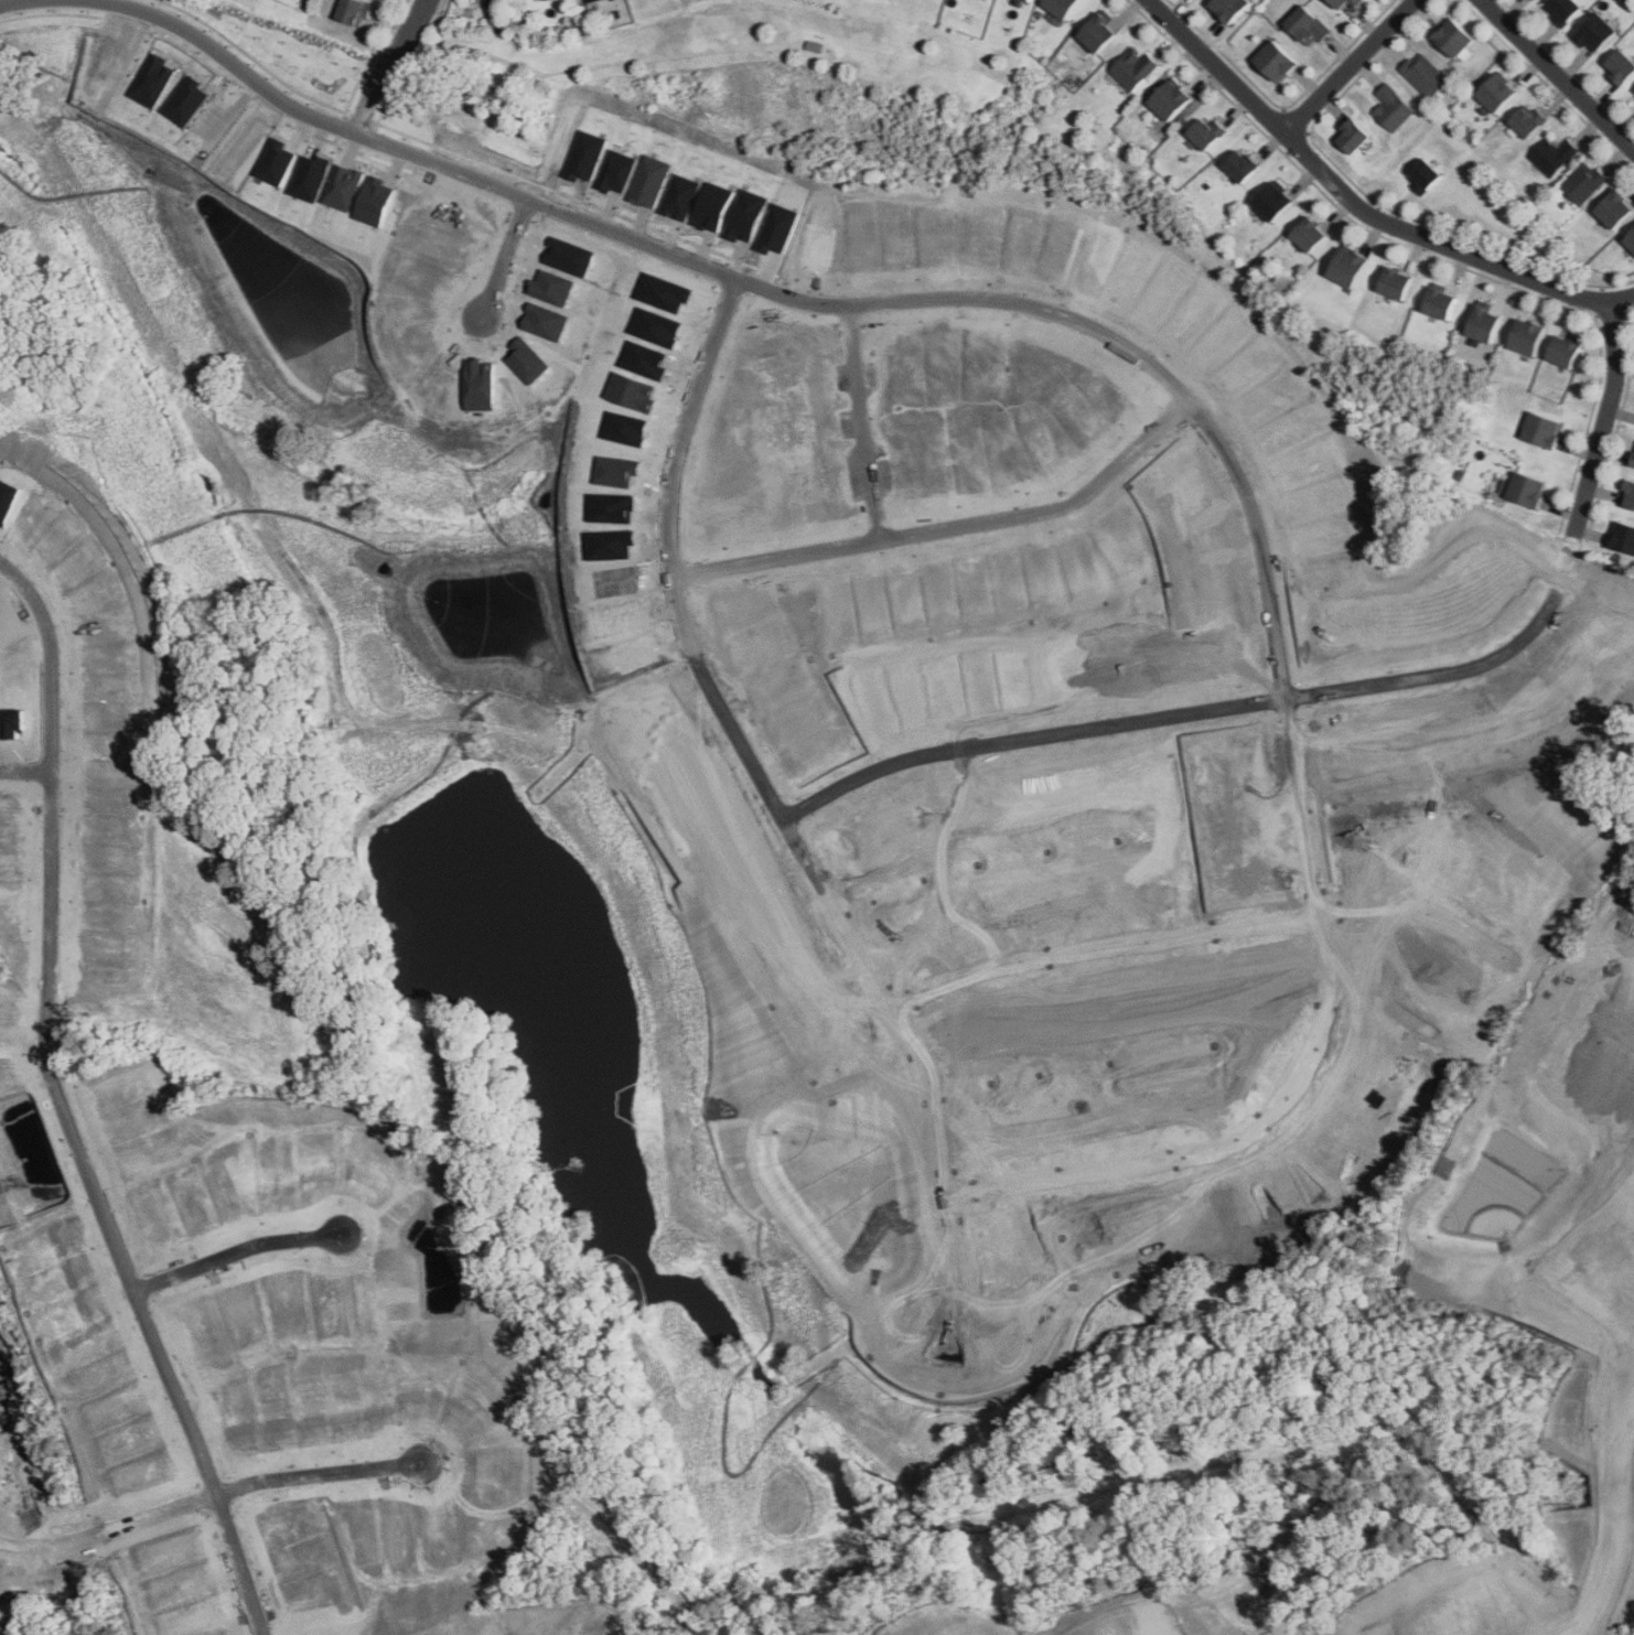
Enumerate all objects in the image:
road: (28, 0)
building: (1028, 0)
building: (590, 1)
building: (1343, 2)
building: (1061, 7)
building: (1229, 9)
building: (1563, 10)
building: (354, 12)
road: (51, 15)
road: (433, 24)
building: (1307, 26)
road: (410, 29)
building: (1595, 33)
building: (1099, 34)
building: (1453, 37)
building: (1277, 63)
road: (1567, 64)
road: (1350, 66)
building: (1621, 67)
building: (1135, 68)
building: (1425, 75)
road: (1558, 75)
road: (1548, 84)
road: (301, 94)
road: (373, 94)
building: (1496, 94)
building: (1170, 100)
road: (1283, 106)
building: (1391, 108)
building: (1527, 121)
road: (373, 123)
road: (338, 126)
road: (1308, 131)
building: (1207, 133)
building: (1352, 138)
road: (344, 144)
road: (413, 151)
building: (1552, 155)
building: (1240, 165)
building: (1423, 175)
building: (1583, 182)
road: (1372, 198)
building: (1273, 201)
road: (1332, 203)
road: (1358, 207)
building: (1614, 208)
building: (1310, 234)
building: (1630, 239)
road: (504, 259)
building: (1348, 266)
building: (1395, 282)
building: (1440, 302)
road: (1598, 314)
building: (1483, 322)
building: (1527, 336)
building: (1563, 351)
road: (1585, 423)
road: (860, 426)
building: (1542, 429)
road: (1615, 432)
building: (1632, 461)
building: (1528, 487)
building: (1628, 494)
road: (1036, 515)
building: (1624, 536)
road: (1560, 596)
road: (68, 637)
road: (35, 664)
road: (1033, 738)
road: (17, 754)
road: (49, 755)
road: (30, 772)
road: (23, 773)
road: (14, 788)
road: (46, 789)
road: (61, 870)
road: (1137, 947)
road: (26, 1007)
road: (62, 1104)
road: (1289, 1106)
road: (241, 1255)
road: (1628, 1338)
road: (326, 1475)
road: (1627, 1500)
road: (112, 1531)

